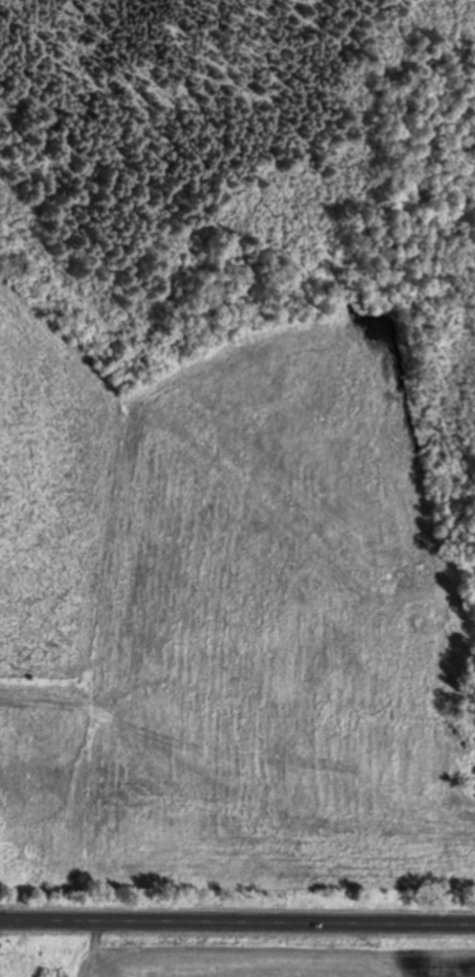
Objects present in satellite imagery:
road: (237, 922)

